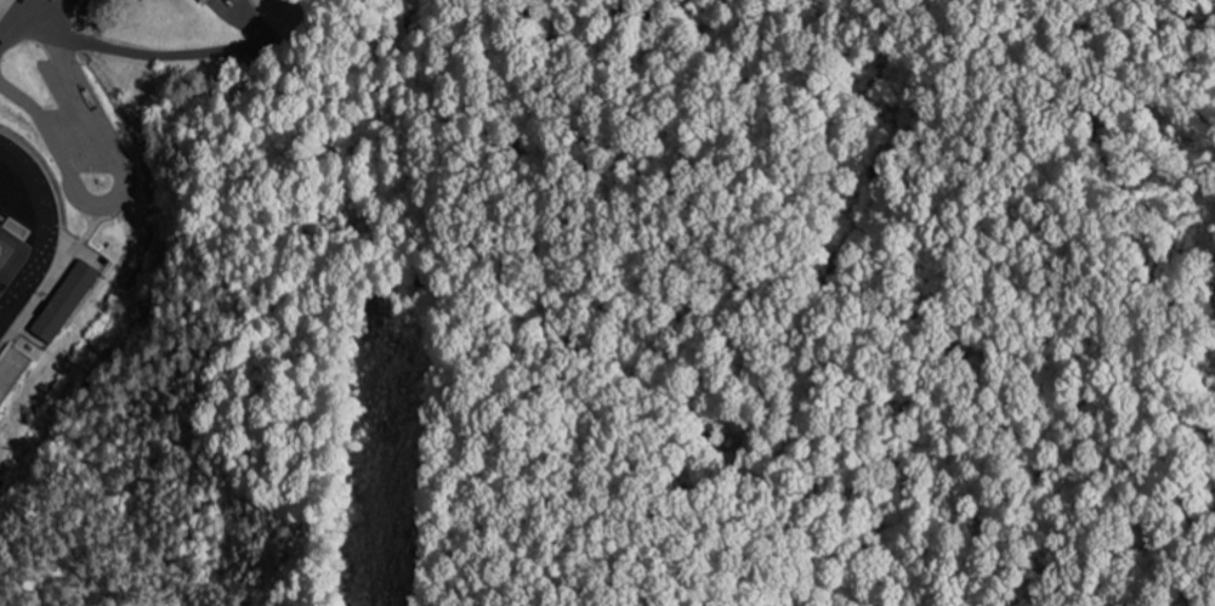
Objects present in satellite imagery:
building: (200, 1)
track: (46, 233)
park: (5, 253)
building: (61, 302)
building: (8, 367)

